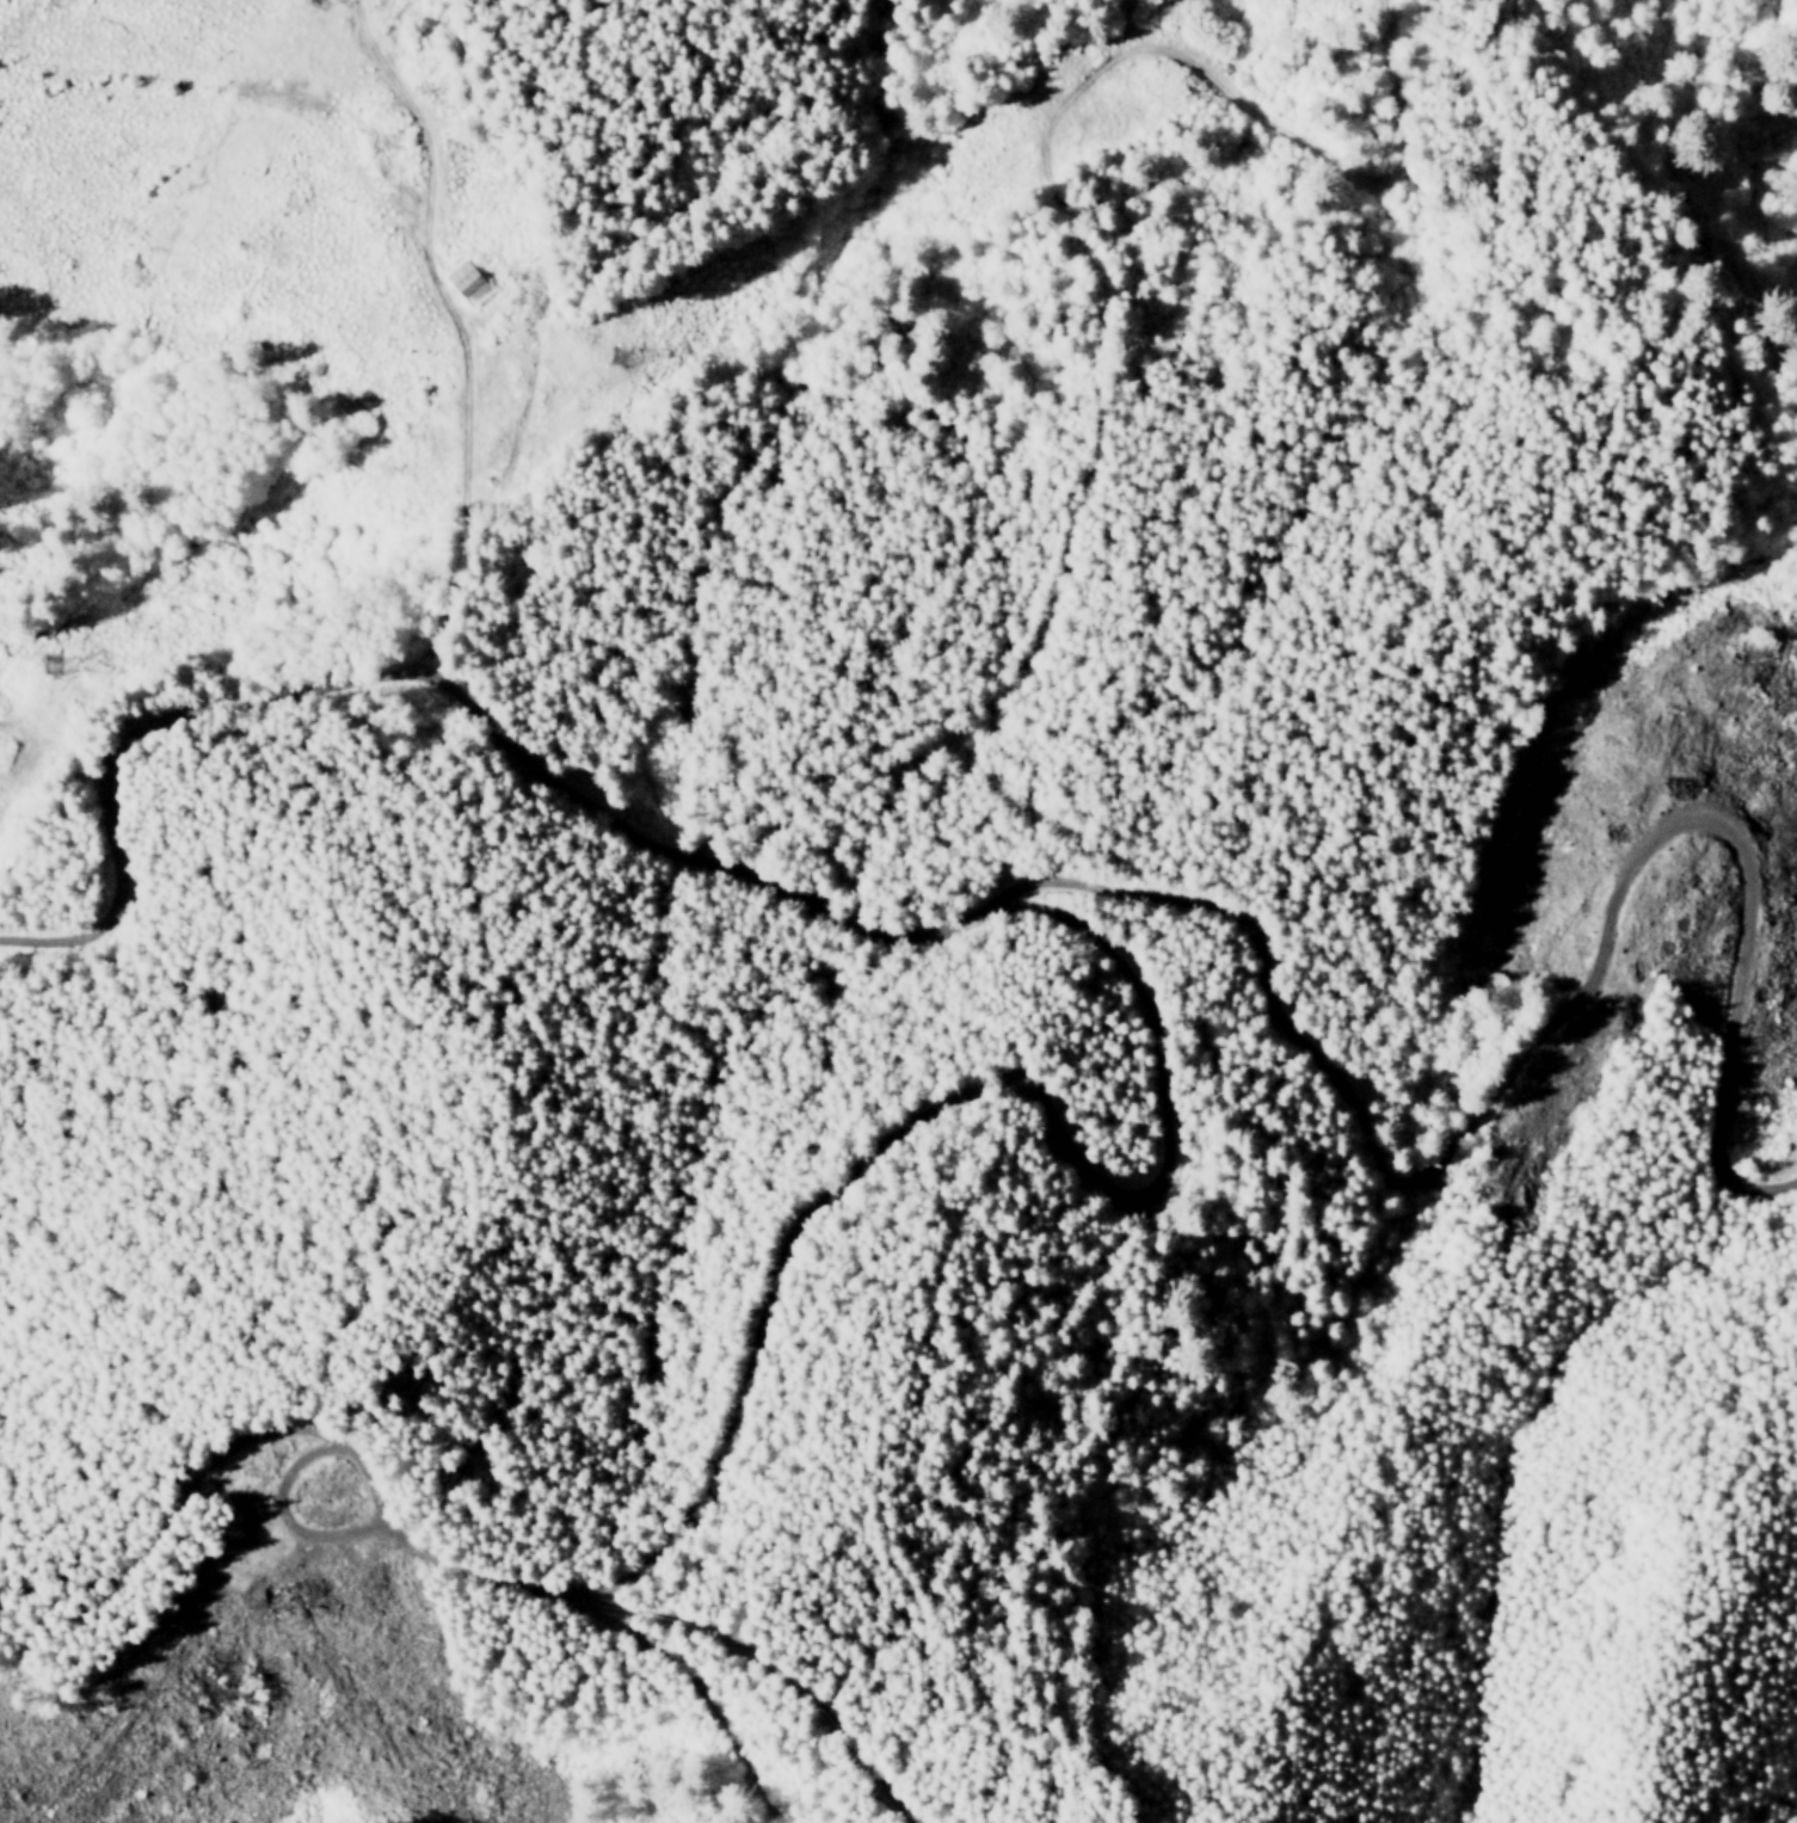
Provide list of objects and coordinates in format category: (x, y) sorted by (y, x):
power tower: (609, 356)
road: (1064, 473)
power tower: (44, 666)
road: (248, 695)

